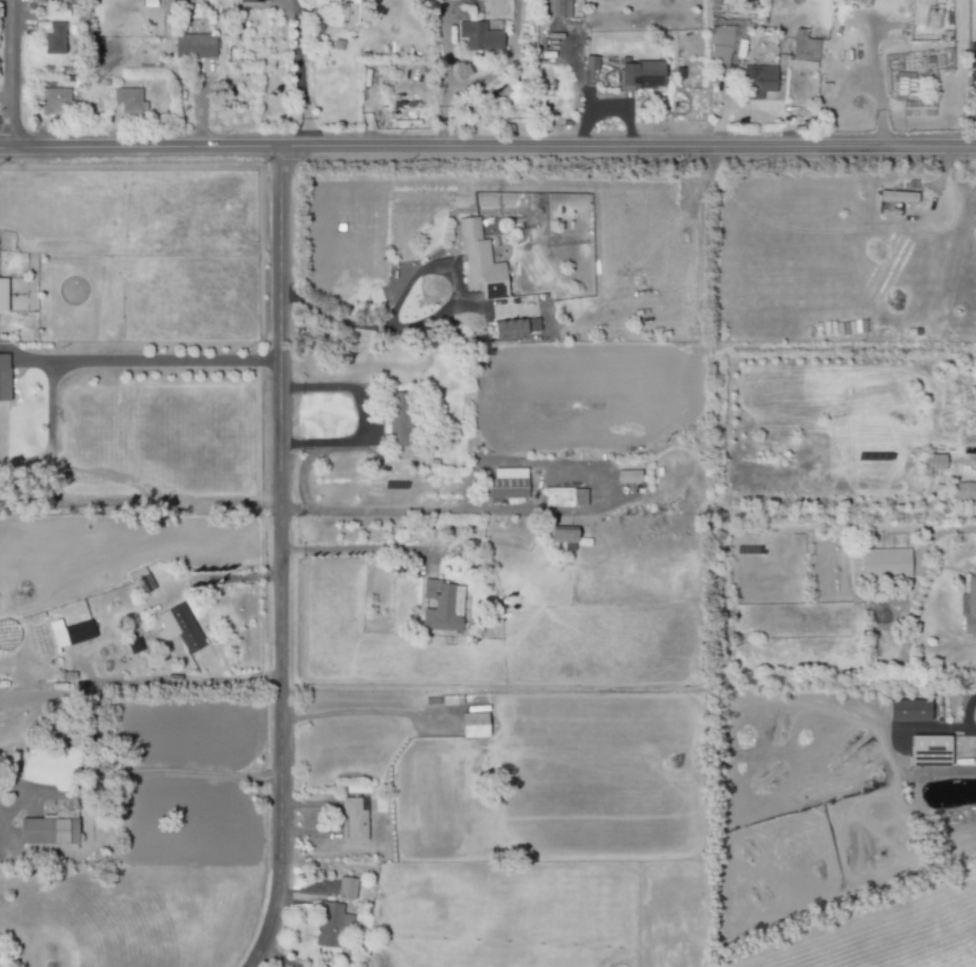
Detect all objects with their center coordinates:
building: (248, 1)
building: (552, 8)
building: (924, 14)
building: (53, 36)
building: (477, 36)
building: (725, 43)
building: (192, 45)
building: (803, 52)
building: (971, 55)
building: (589, 63)
road: (297, 72)
road: (873, 72)
road: (9, 73)
road: (445, 73)
building: (639, 74)
building: (757, 81)
road: (581, 88)
building: (53, 100)
building: (127, 100)
road: (626, 108)
road: (487, 146)
building: (896, 196)
building: (478, 261)
building: (1, 295)
road: (430, 307)
building: (513, 327)
road: (154, 362)
building: (3, 377)
road: (359, 415)
building: (395, 416)
building: (932, 462)
building: (625, 476)
building: (505, 483)
building: (964, 491)
building: (563, 497)
road: (296, 509)
road: (359, 510)
road: (943, 530)
building: (560, 533)
building: (561, 546)
road: (349, 550)
road: (278, 558)
building: (883, 563)
building: (143, 579)
road: (212, 580)
building: (437, 607)
building: (968, 608)
building: (178, 627)
building: (68, 632)
road: (184, 681)
building: (906, 710)
road: (361, 716)
building: (472, 725)
building: (927, 751)
road: (183, 773)
building: (353, 820)
building: (45, 832)
building: (344, 888)
building: (330, 924)
road: (279, 958)

